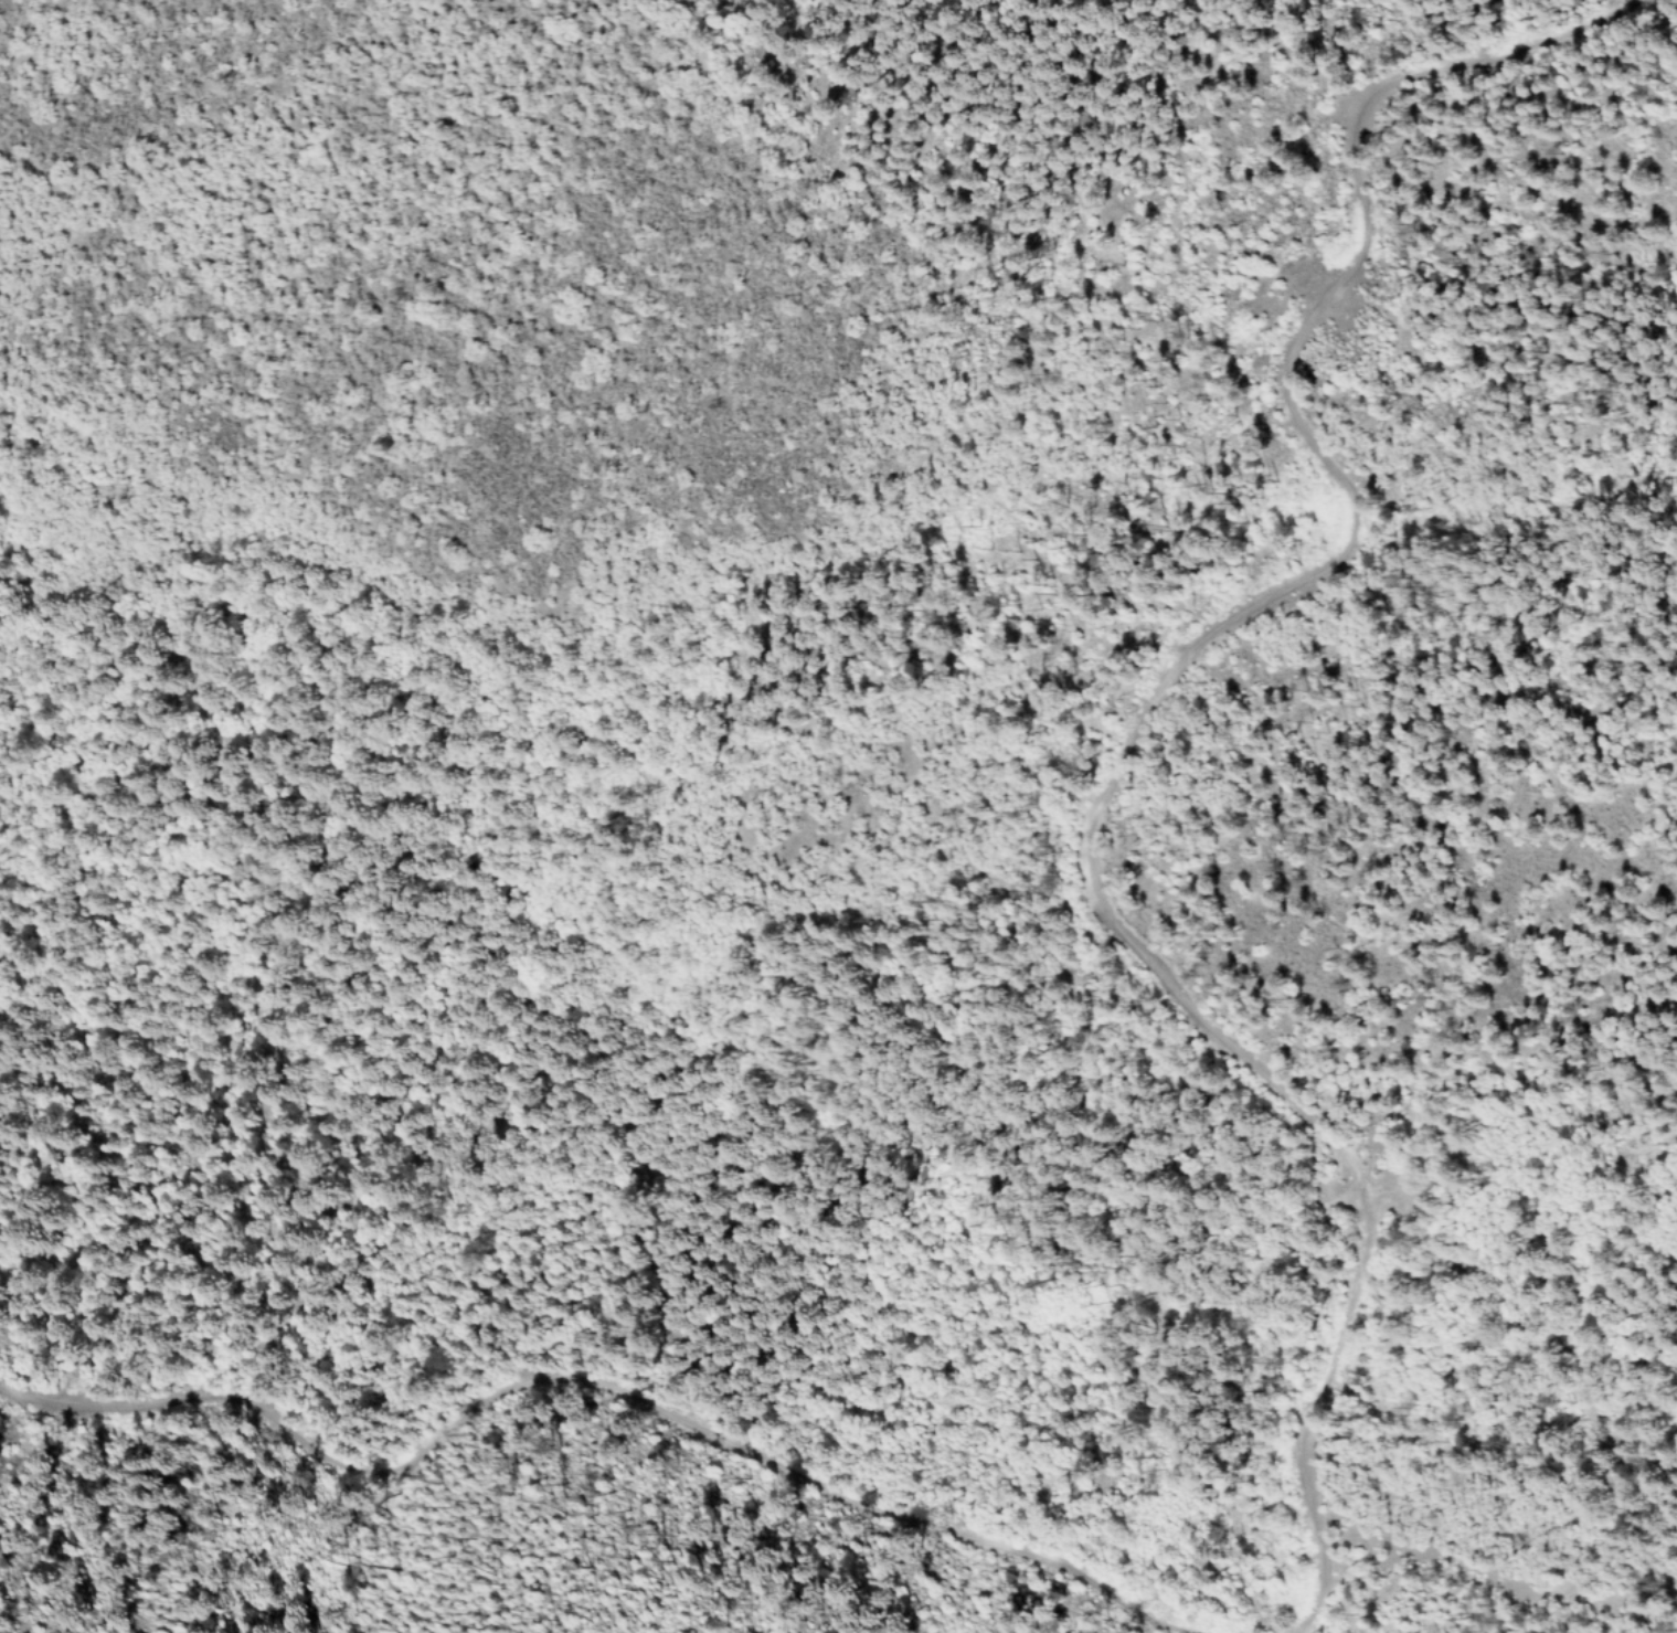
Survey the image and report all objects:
road: (641, 847)

